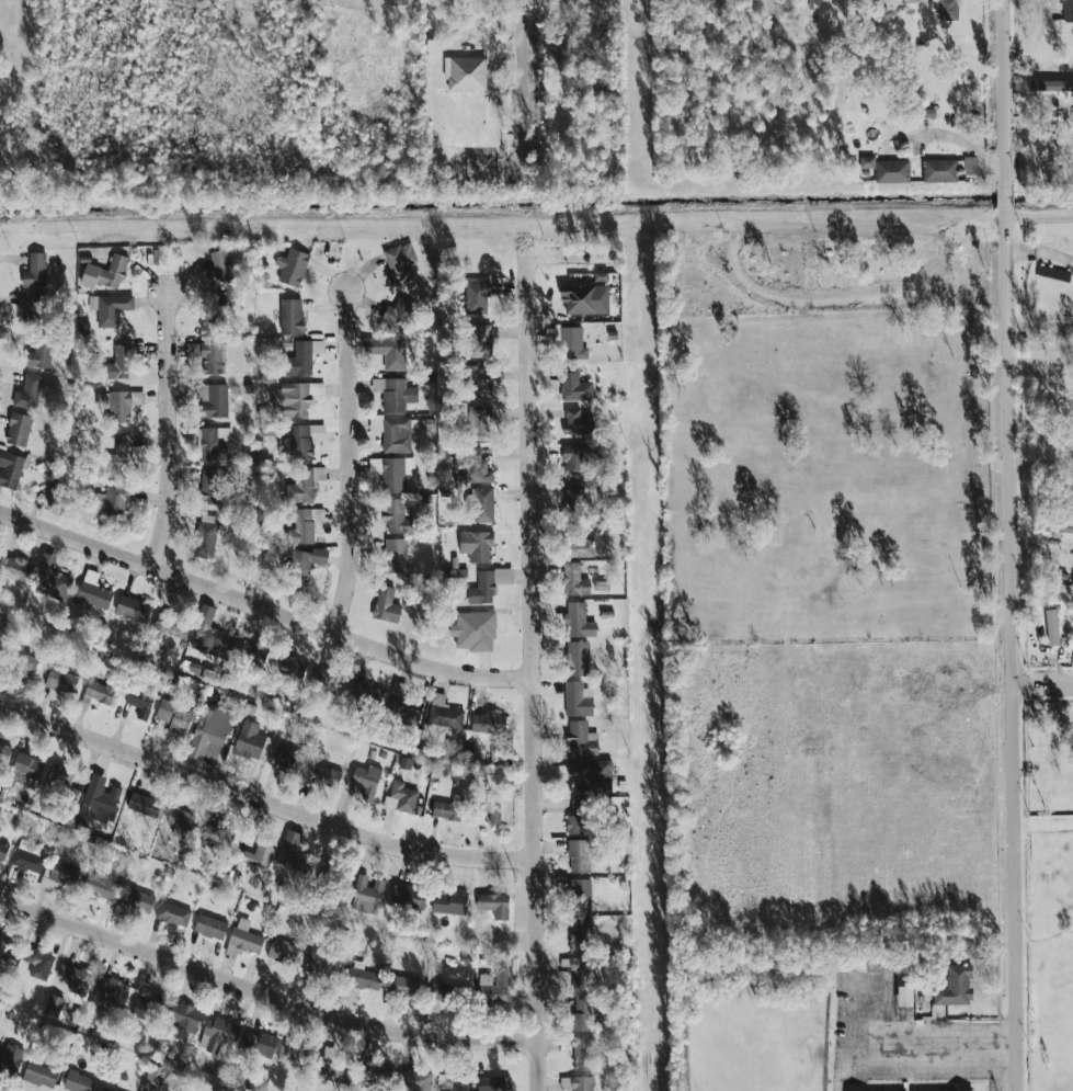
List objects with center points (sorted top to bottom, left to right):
building: (903, 1)
road: (1043, 7)
building: (947, 9)
building: (1066, 10)
building: (466, 73)
building: (1050, 86)
road: (523, 88)
road: (964, 143)
building: (867, 162)
building: (970, 167)
building: (892, 171)
building: (939, 171)
road: (1042, 253)
road: (734, 257)
building: (399, 263)
building: (292, 266)
building: (219, 268)
building: (35, 270)
building: (106, 273)
building: (477, 298)
building: (585, 299)
building: (33, 306)
building: (111, 308)
building: (214, 312)
building: (399, 312)
building: (292, 316)
building: (479, 340)
building: (573, 343)
building: (389, 352)
building: (39, 353)
building: (209, 356)
building: (303, 357)
building: (119, 363)
road: (1041, 374)
building: (478, 384)
building: (574, 386)
building: (27, 393)
building: (396, 394)
building: (213, 400)
building: (293, 400)
building: (479, 421)
building: (577, 422)
building: (19, 429)
road: (167, 430)
building: (396, 434)
building: (301, 442)
building: (214, 443)
building: (121, 456)
building: (573, 461)
road: (1042, 461)
road: (347, 463)
building: (476, 465)
building: (10, 469)
building: (392, 473)
building: (304, 484)
building: (212, 486)
building: (55, 496)
building: (573, 499)
building: (114, 500)
building: (483, 504)
building: (397, 518)
building: (304, 525)
building: (206, 536)
building: (579, 545)
road: (1012, 545)
building: (477, 546)
building: (395, 555)
building: (308, 562)
building: (15, 568)
building: (52, 579)
building: (574, 580)
building: (488, 584)
building: (1072, 588)
building: (93, 591)
building: (386, 605)
road: (264, 607)
building: (133, 609)
building: (579, 621)
building: (171, 624)
building: (1052, 627)
building: (482, 630)
building: (208, 634)
building: (0, 641)
building: (248, 657)
building: (578, 658)
road: (533, 663)
building: (24, 664)
building: (289, 667)
building: (327, 679)
building: (61, 680)
road: (1043, 685)
building: (100, 692)
building: (366, 692)
building: (140, 700)
building: (578, 700)
building: (406, 705)
building: (444, 713)
building: (174, 715)
building: (209, 734)
building: (582, 739)
building: (252, 741)
building: (3, 753)
building: (287, 759)
building: (404, 762)
building: (26, 769)
building: (590, 773)
building: (324, 775)
building: (62, 777)
building: (366, 781)
building: (401, 797)
road: (264, 800)
building: (98, 802)
building: (145, 805)
building: (489, 807)
building: (448, 808)
building: (579, 817)
building: (181, 823)
building: (212, 829)
building: (3, 851)
building: (294, 853)
building: (260, 854)
building: (28, 856)
building: (579, 856)
building: (327, 873)
building: (103, 882)
building: (579, 890)
building: (367, 895)
building: (409, 896)
building: (137, 901)
building: (449, 904)
building: (494, 905)
building: (173, 914)
building: (210, 927)
building: (581, 932)
building: (243, 939)
building: (283, 951)
building: (8, 952)
building: (322, 962)
building: (39, 964)
building: (579, 971)
building: (76, 977)
building: (363, 977)
building: (404, 986)
building: (493, 987)
building: (956, 987)
building: (443, 991)
building: (111, 992)
road: (263, 995)
building: (905, 996)
building: (55, 1004)
building: (148, 1009)
building: (582, 1015)
building: (185, 1018)
building: (219, 1034)
building: (259, 1043)
road: (911, 1046)
building: (583, 1053)
building: (292, 1056)
building: (10, 1058)
building: (335, 1072)
building: (41, 1075)
building: (156, 1075)
building: (378, 1075)
building: (79, 1082)
building: (453, 1083)
building: (492, 1083)
building: (582, 1083)
building: (105, 1089)
building: (963, 1090)

